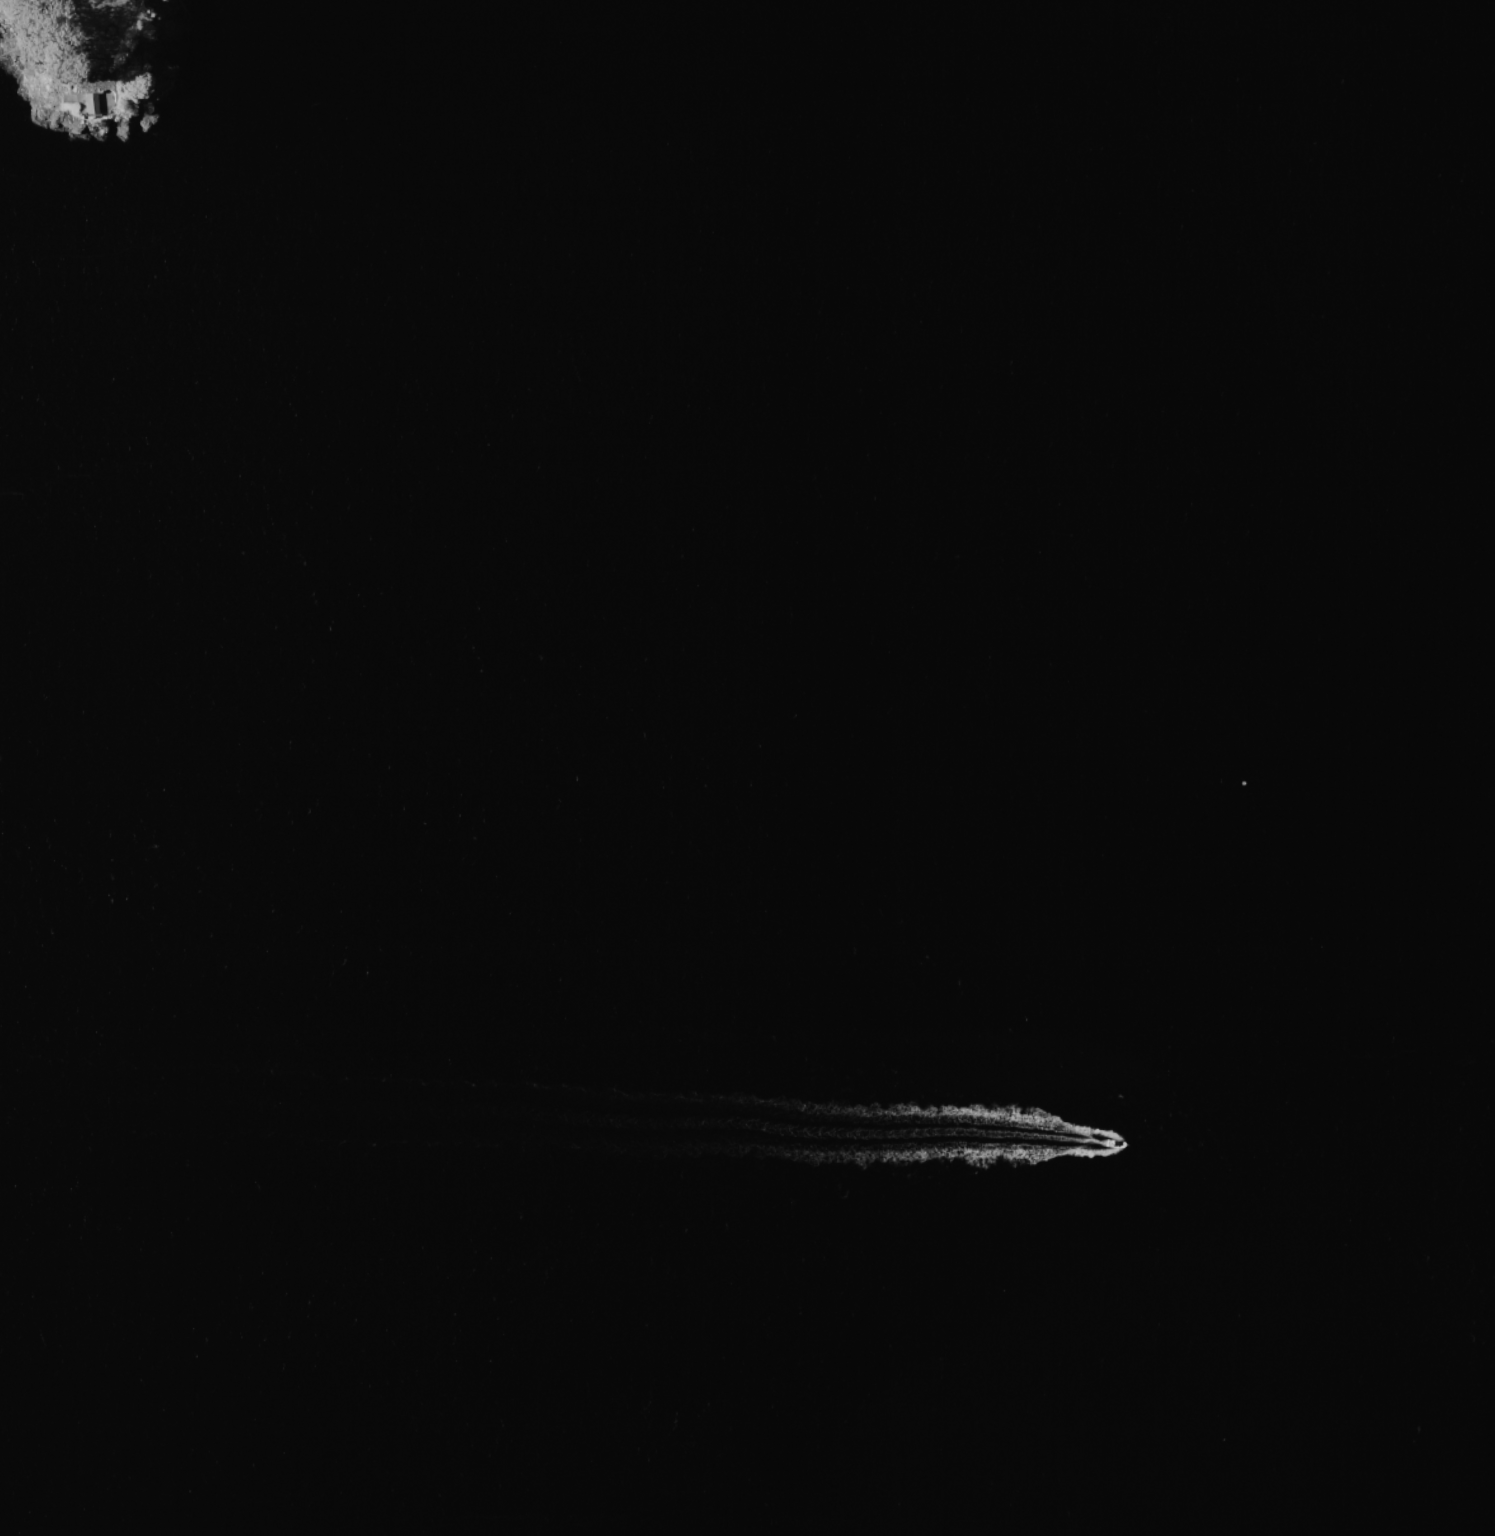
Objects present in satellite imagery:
flagpole: (107, 31)
road: (99, 65)
road: (110, 66)
building: (94, 70)
building: (78, 71)
building: (89, 98)
road: (108, 102)
road: (84, 107)
road: (89, 109)

